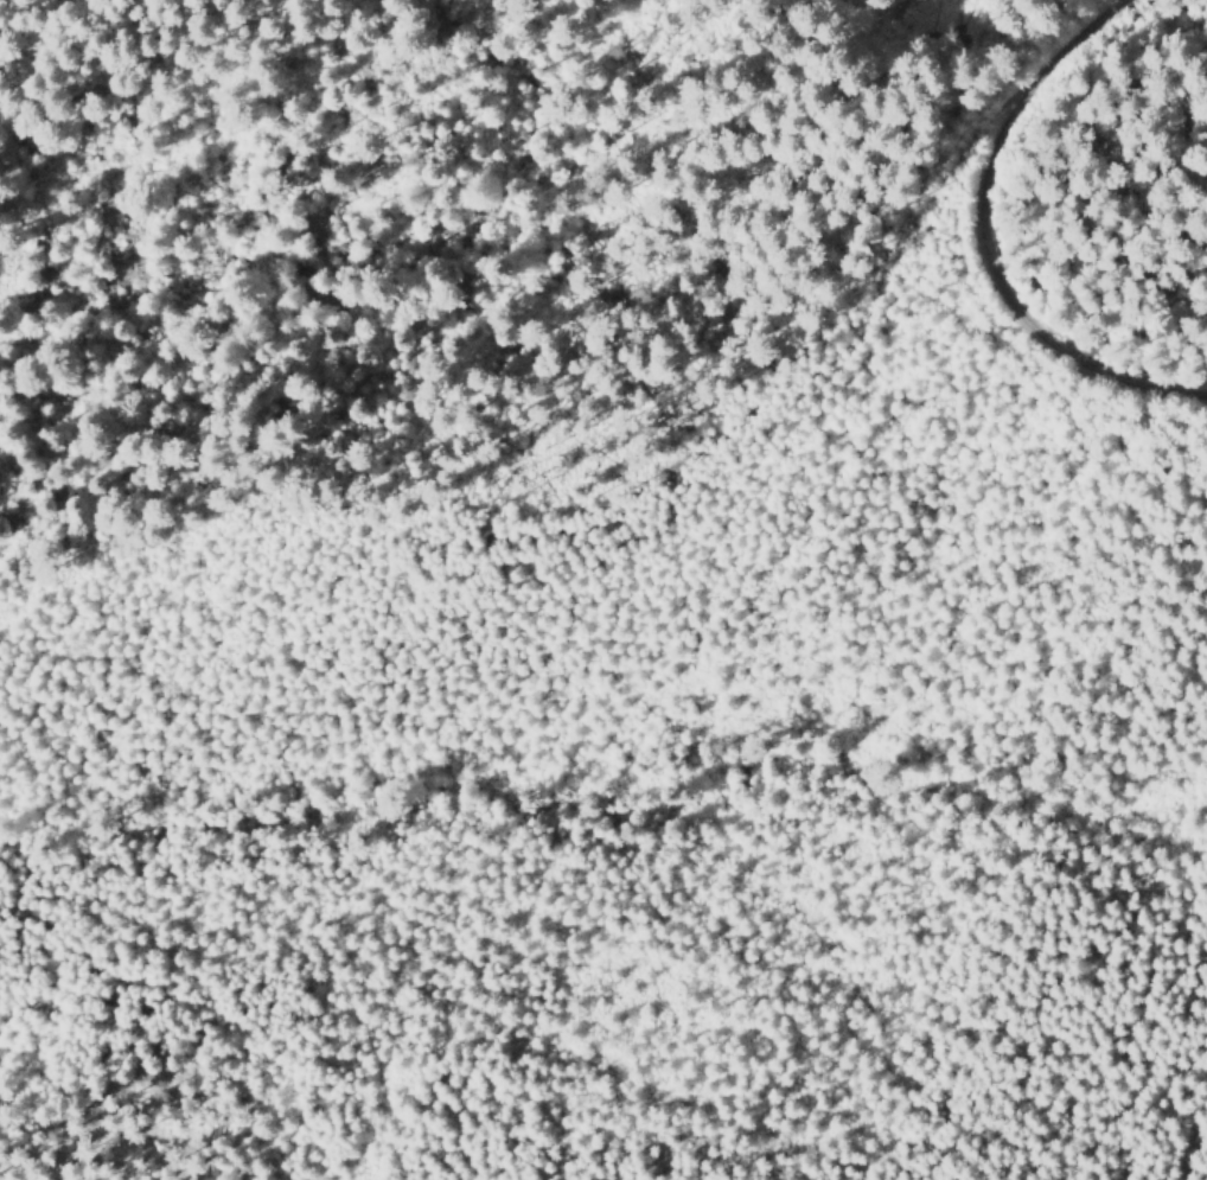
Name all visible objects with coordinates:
road: (986, 238)

